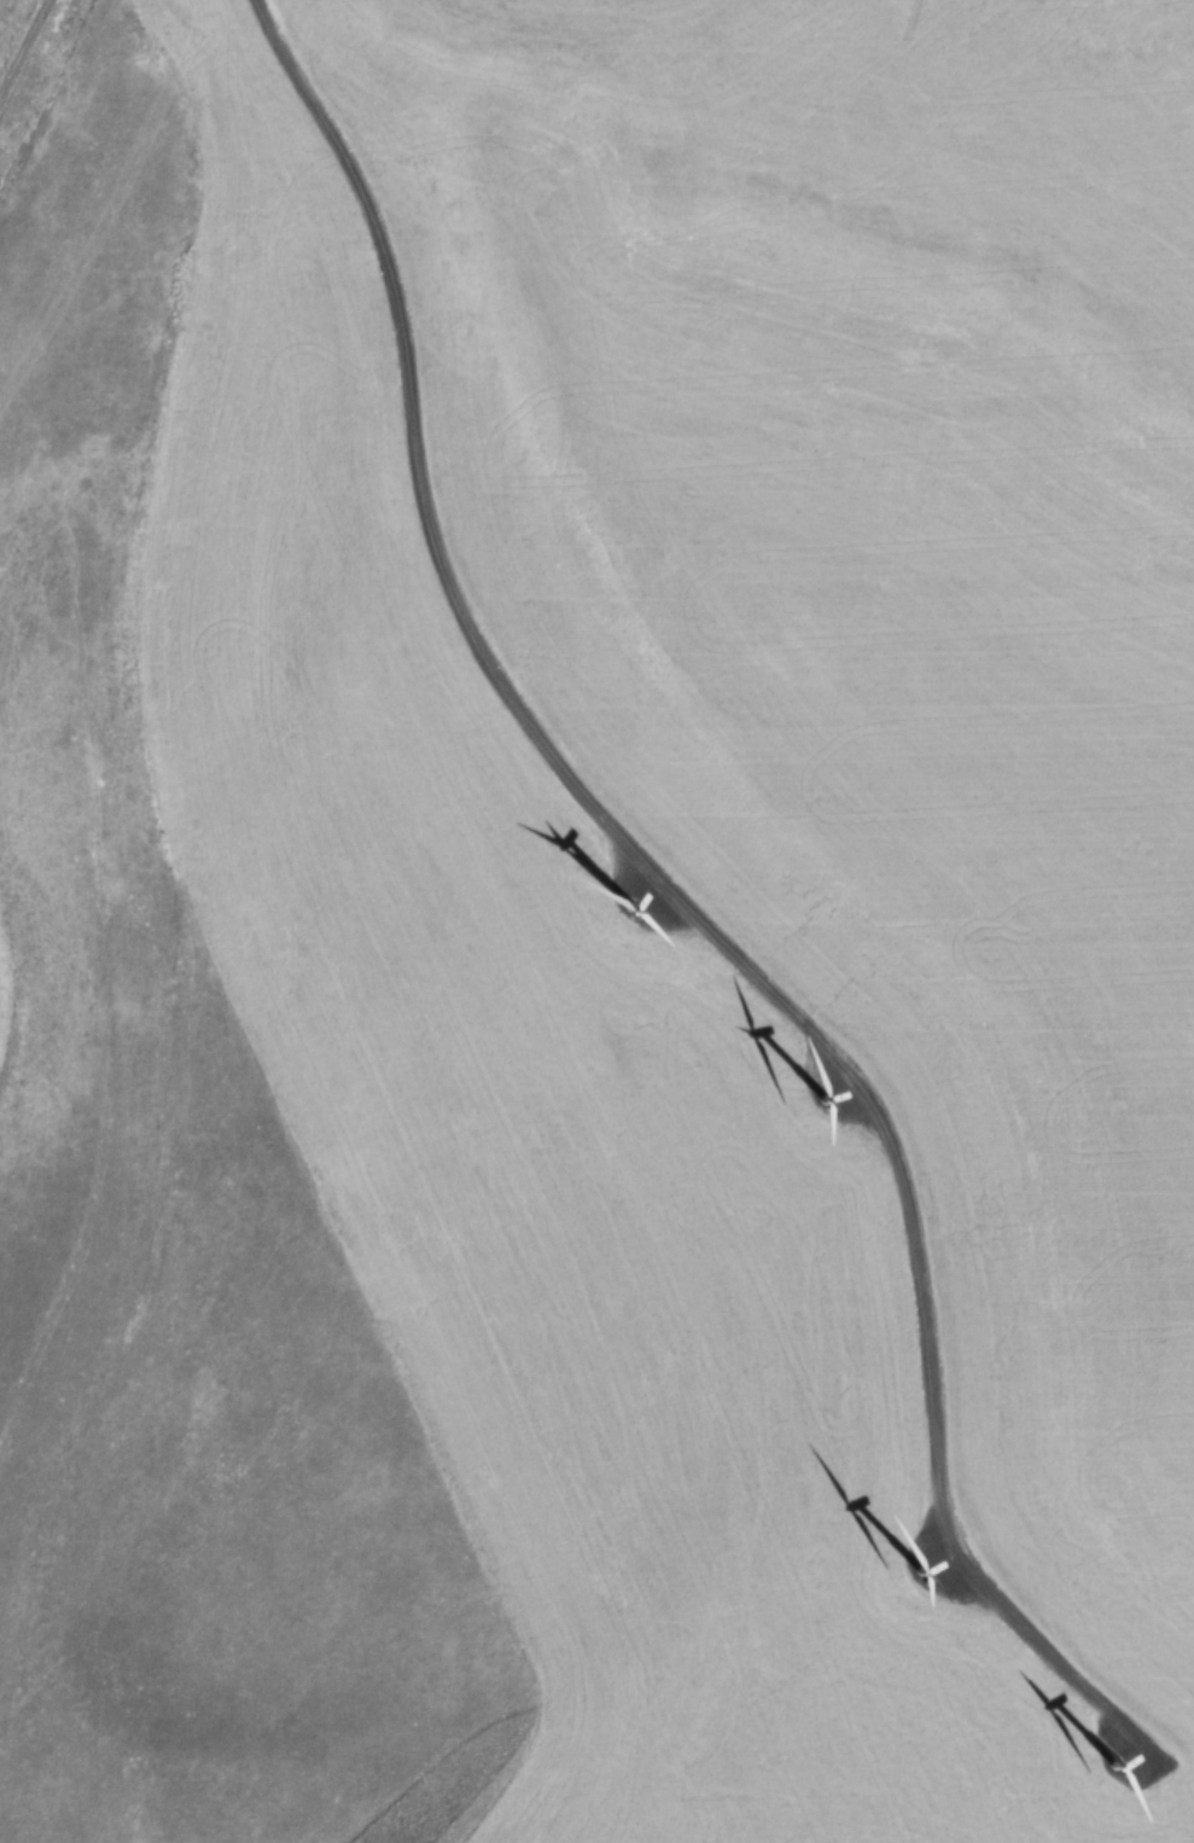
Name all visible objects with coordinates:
road: (19, 37)
wind turbine: (634, 900)
road: (688, 911)
wind turbine: (806, 1092)
wind turbine: (926, 1559)
wind turbine: (1114, 1755)

